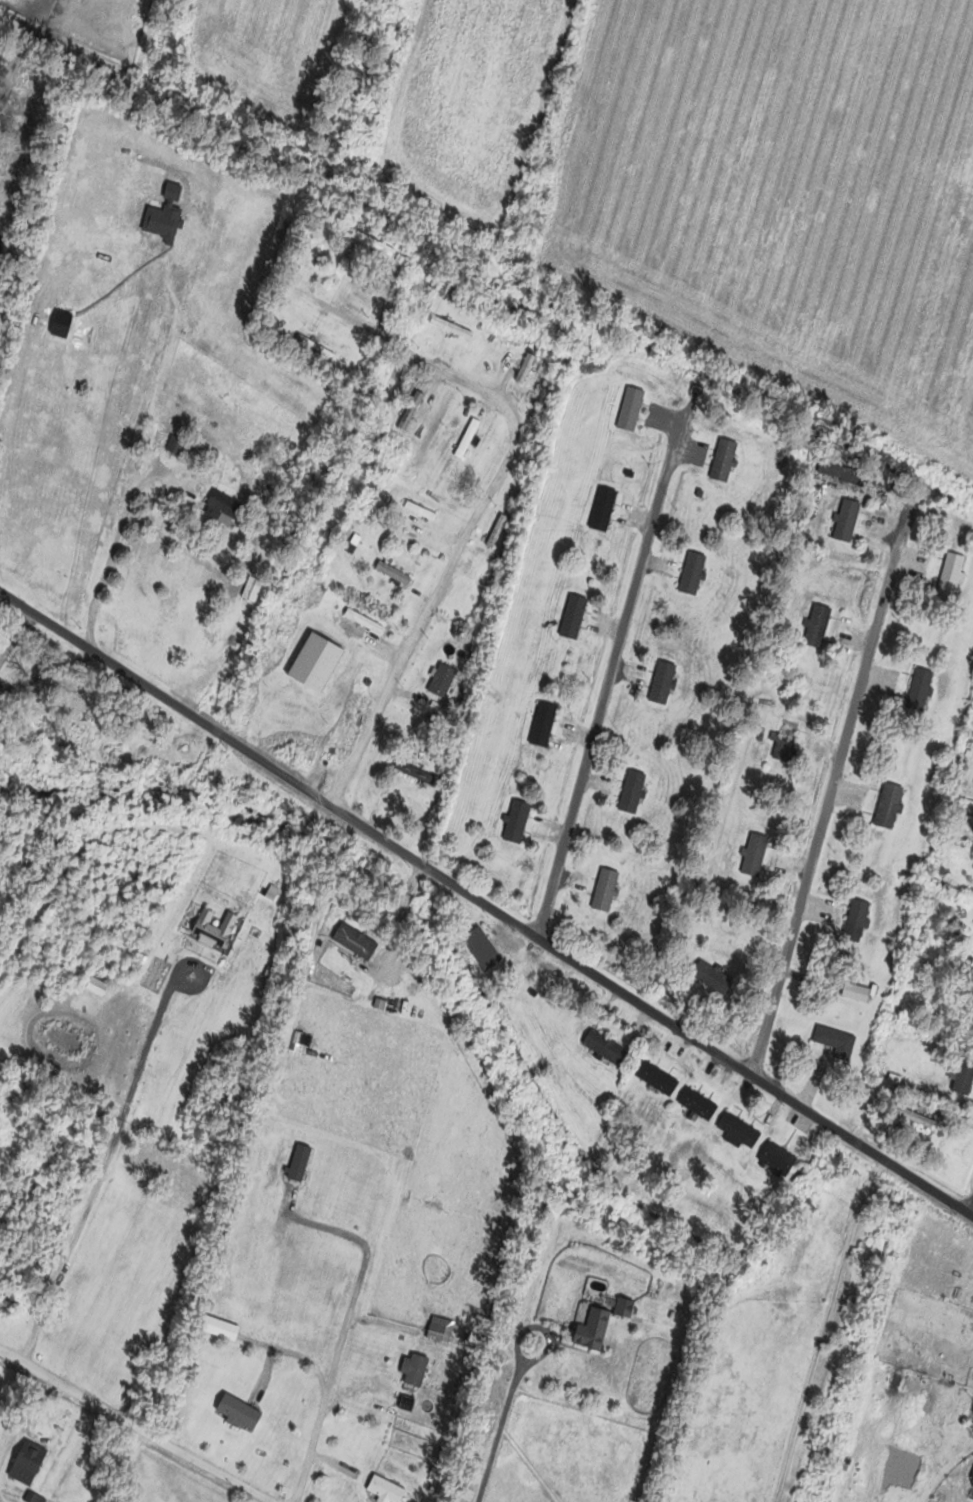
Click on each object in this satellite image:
building: (162, 225)
building: (373, 243)
building: (450, 326)
building: (527, 362)
building: (630, 408)
building: (410, 409)
building: (466, 437)
building: (176, 444)
building: (724, 459)
building: (843, 472)
building: (223, 506)
building: (603, 508)
road: (478, 512)
building: (846, 519)
building: (496, 529)
road: (117, 540)
building: (393, 571)
building: (692, 571)
building: (952, 571)
building: (573, 615)
building: (817, 624)
road: (609, 675)
building: (442, 679)
building: (662, 681)
building: (920, 688)
road: (164, 699)
building: (0, 704)
building: (543, 724)
building: (783, 742)
road: (831, 784)
building: (632, 791)
building: (888, 805)
building: (516, 820)
building: (754, 854)
building: (605, 889)
building: (856, 919)
building: (482, 947)
road: (183, 958)
building: (714, 977)
building: (856, 992)
road: (650, 1011)
building: (835, 1041)
building: (605, 1046)
building: (657, 1077)
building: (964, 1077)
building: (698, 1103)
building: (912, 1115)
building: (738, 1131)
building: (778, 1158)
road: (98, 1168)
road: (972, 1214)
road: (318, 1223)
parking lot: (956, 1268)
building: (624, 1307)
road: (538, 1327)
road: (823, 1328)
building: (594, 1329)
road: (291, 1350)
building: (417, 1370)
road: (326, 1377)
building: (892, 1377)
building: (239, 1413)
road: (138, 1425)
road: (498, 1432)
building: (28, 1464)
road: (943, 1471)
building: (386, 1488)

